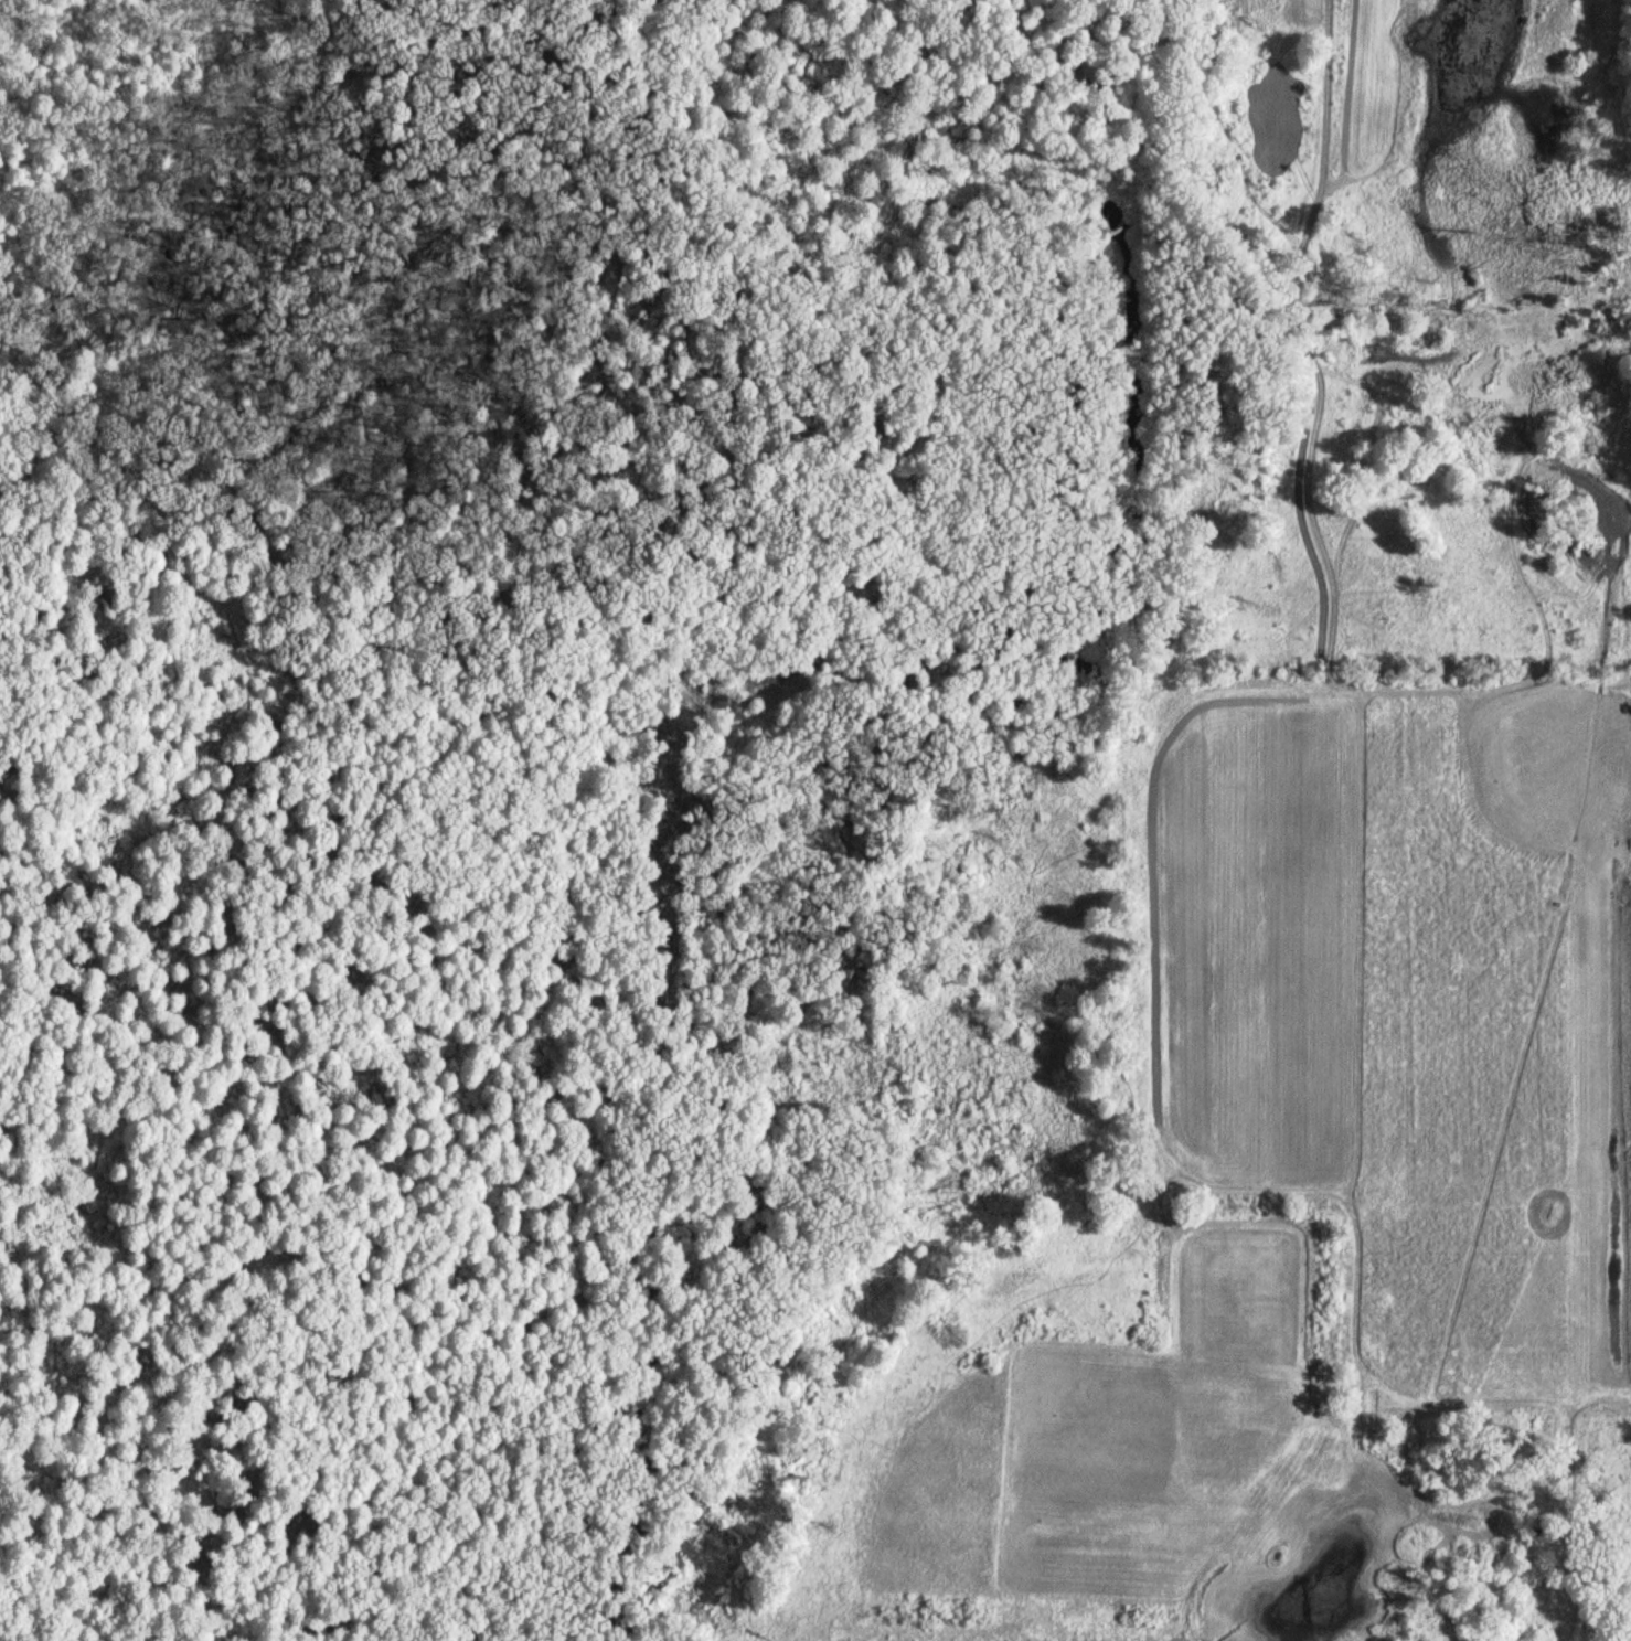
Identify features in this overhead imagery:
building: (1627, 1484)
road: (1610, 1622)

